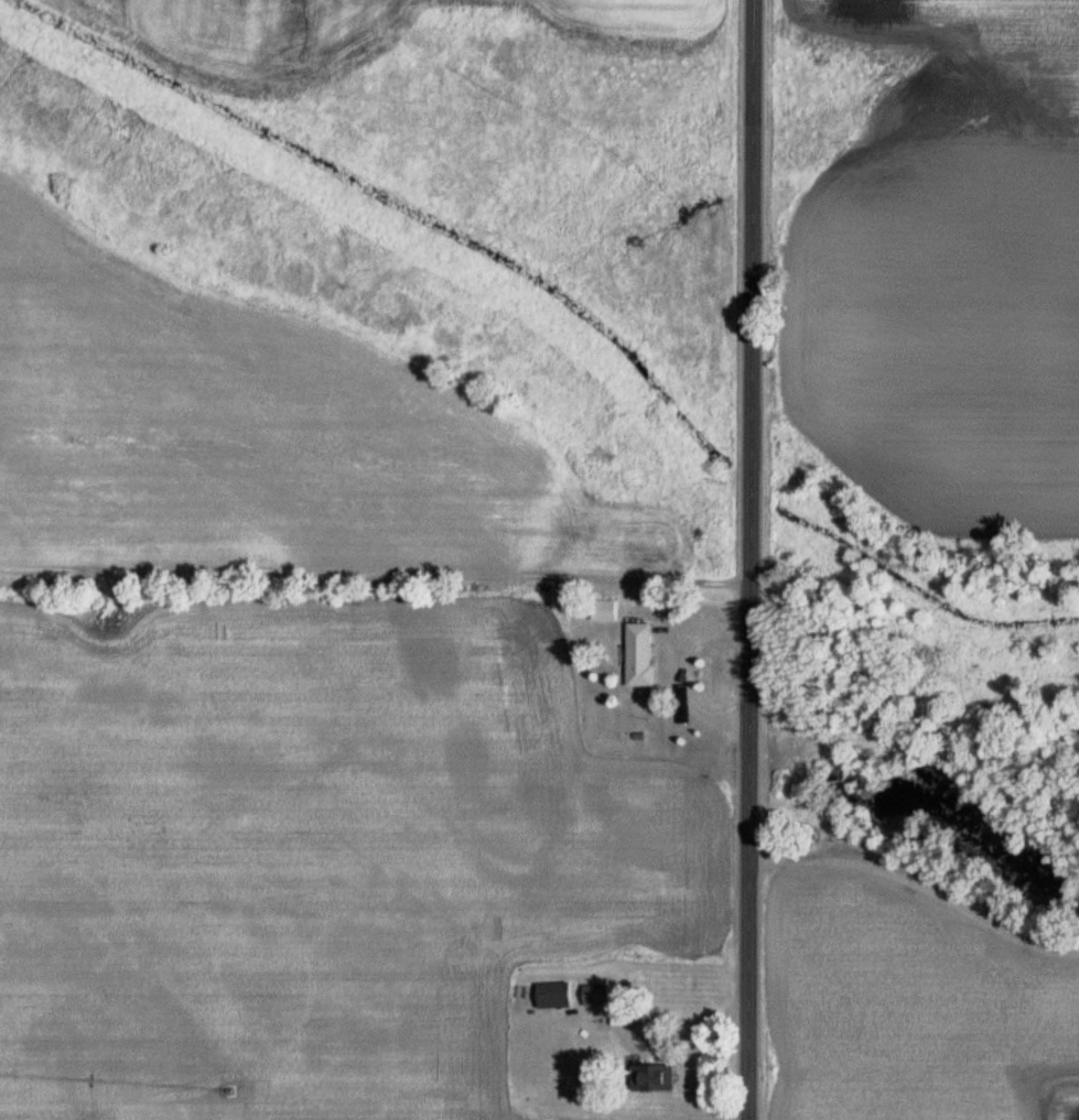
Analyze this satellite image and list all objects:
road: (748, 559)
building: (603, 611)
building: (637, 654)
road: (682, 671)
building: (551, 994)
building: (593, 994)
road: (630, 1018)
building: (648, 1077)

